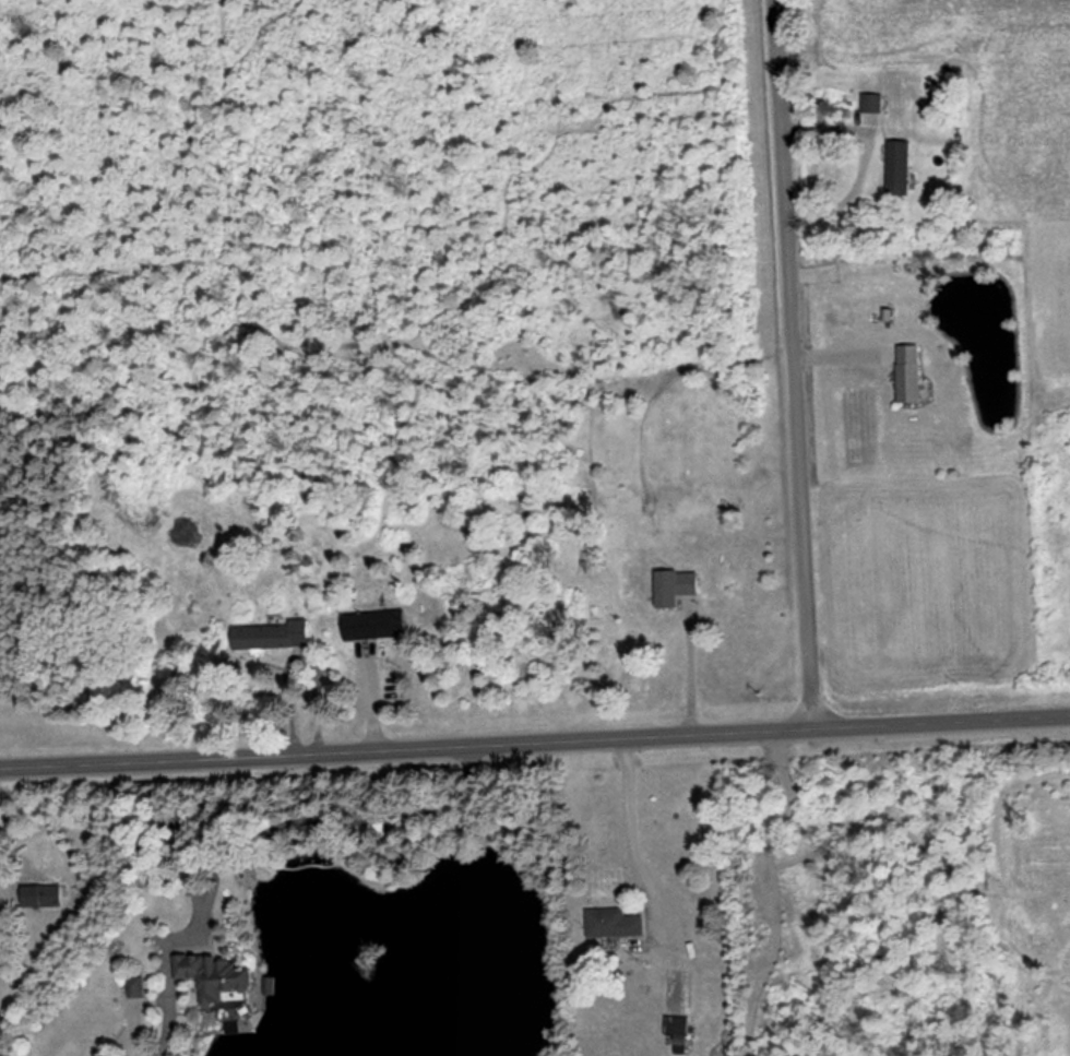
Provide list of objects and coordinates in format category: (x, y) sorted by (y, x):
building: (875, 104)
building: (902, 168)
road: (793, 365)
building: (913, 373)
building: (678, 588)
building: (378, 626)
building: (273, 637)
road: (534, 743)
building: (45, 895)
building: (617, 924)
building: (219, 975)
building: (136, 986)
building: (678, 1029)

